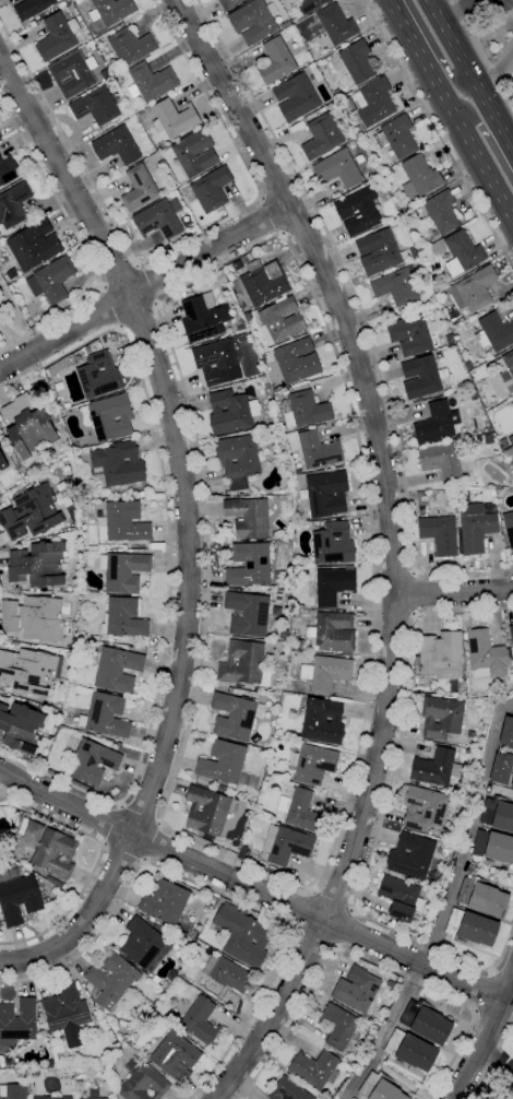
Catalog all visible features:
building: (84, 0)
building: (79, 1)
building: (228, 3)
building: (310, 4)
parking lot: (501, 7)
building: (32, 8)
building: (70, 8)
building: (111, 10)
road: (463, 12)
building: (253, 21)
building: (286, 23)
building: (336, 24)
building: (57, 36)
building: (131, 46)
road: (434, 49)
road: (481, 55)
building: (276, 61)
building: (357, 61)
building: (322, 67)
road: (499, 70)
building: (72, 74)
road: (470, 75)
building: (151, 82)
building: (336, 93)
building: (296, 97)
building: (375, 102)
building: (96, 106)
road: (451, 109)
building: (174, 118)
road: (438, 132)
building: (322, 135)
building: (396, 135)
building: (0, 137)
road: (485, 137)
building: (0, 138)
building: (117, 145)
building: (195, 153)
building: (0, 159)
building: (338, 168)
building: (8, 170)
building: (419, 176)
building: (139, 188)
building: (211, 189)
road: (279, 189)
building: (13, 204)
building: (359, 211)
building: (440, 211)
building: (220, 213)
road: (271, 216)
building: (158, 220)
road: (299, 225)
building: (34, 245)
road: (82, 245)
road: (175, 245)
building: (378, 251)
building: (462, 252)
building: (414, 253)
building: (247, 258)
building: (237, 265)
building: (12, 273)
road: (120, 274)
building: (52, 279)
road: (152, 282)
building: (264, 282)
building: (398, 285)
road: (143, 288)
building: (474, 289)
road: (110, 307)
building: (203, 317)
building: (249, 317)
road: (362, 317)
road: (140, 320)
building: (281, 320)
park: (11, 322)
building: (494, 332)
building: (411, 334)
building: (450, 339)
building: (296, 359)
building: (217, 362)
building: (469, 365)
building: (506, 367)
building: (99, 375)
building: (420, 377)
building: (512, 403)
building: (306, 410)
building: (231, 411)
building: (61, 413)
building: (111, 417)
building: (437, 423)
building: (27, 425)
building: (511, 439)
building: (504, 442)
building: (318, 450)
building: (509, 451)
building: (499, 458)
building: (238, 460)
building: (441, 460)
building: (2, 462)
building: (118, 464)
building: (297, 471)
building: (326, 493)
building: (419, 494)
building: (142, 495)
building: (31, 512)
building: (248, 517)
building: (126, 521)
building: (508, 527)
road: (187, 529)
building: (476, 531)
building: (440, 534)
building: (333, 544)
road: (390, 545)
building: (38, 564)
road: (169, 564)
building: (249, 565)
building: (123, 571)
road: (395, 575)
building: (334, 584)
road: (454, 591)
road: (416, 594)
building: (278, 596)
building: (276, 611)
building: (248, 613)
road: (394, 613)
building: (33, 618)
building: (123, 618)
building: (333, 633)
building: (511, 634)
building: (298, 643)
building: (487, 654)
building: (441, 655)
building: (244, 664)
building: (118, 669)
building: (28, 670)
building: (326, 673)
building: (106, 716)
building: (236, 716)
building: (441, 717)
building: (323, 721)
building: (21, 726)
building: (470, 734)
building: (302, 740)
building: (504, 754)
building: (93, 761)
building: (223, 763)
building: (314, 764)
building: (437, 767)
building: (512, 784)
building: (220, 789)
building: (425, 807)
building: (298, 808)
building: (207, 811)
road: (141, 813)
road: (382, 814)
building: (498, 814)
road: (337, 831)
road: (153, 842)
building: (286, 844)
road: (104, 846)
building: (493, 847)
building: (55, 853)
building: (242, 854)
building: (411, 855)
road: (96, 861)
building: (55, 881)
road: (249, 887)
road: (220, 895)
building: (402, 897)
building: (482, 897)
road: (334, 898)
building: (19, 899)
building: (165, 902)
road: (444, 907)
road: (303, 910)
building: (152, 920)
building: (155, 925)
road: (344, 927)
building: (472, 927)
building: (411, 930)
building: (194, 935)
building: (242, 936)
road: (314, 942)
building: (144, 945)
road: (369, 960)
road: (502, 973)
building: (171, 974)
building: (224, 976)
building: (111, 980)
building: (357, 989)
road: (484, 991)
road: (508, 1004)
building: (67, 1014)
road: (490, 1018)
building: (19, 1020)
building: (200, 1020)
building: (426, 1021)
building: (337, 1026)
building: (369, 1026)
road: (487, 1036)
building: (410, 1050)
building: (176, 1056)
road: (492, 1056)
road: (497, 1061)
building: (314, 1068)
building: (334, 1076)
building: (142, 1083)
building: (380, 1088)
building: (288, 1090)
building: (13, 1091)
building: (94, 1095)
building: (52, 1098)
building: (95, 1098)
building: (353, 1098)

